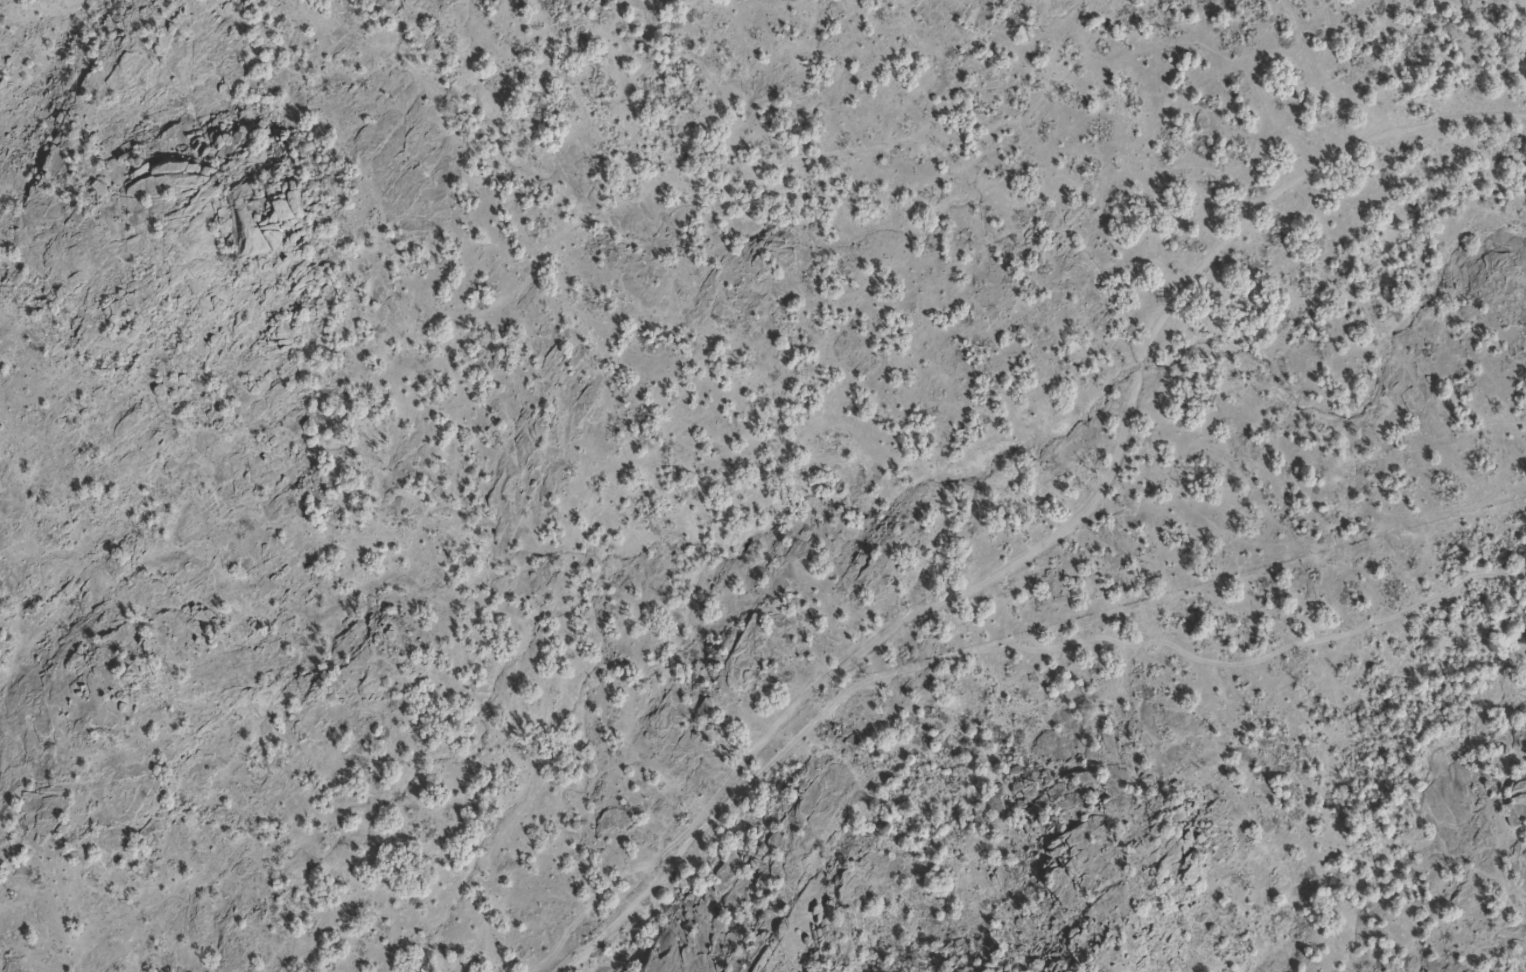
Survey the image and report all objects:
building: (284, 207)

